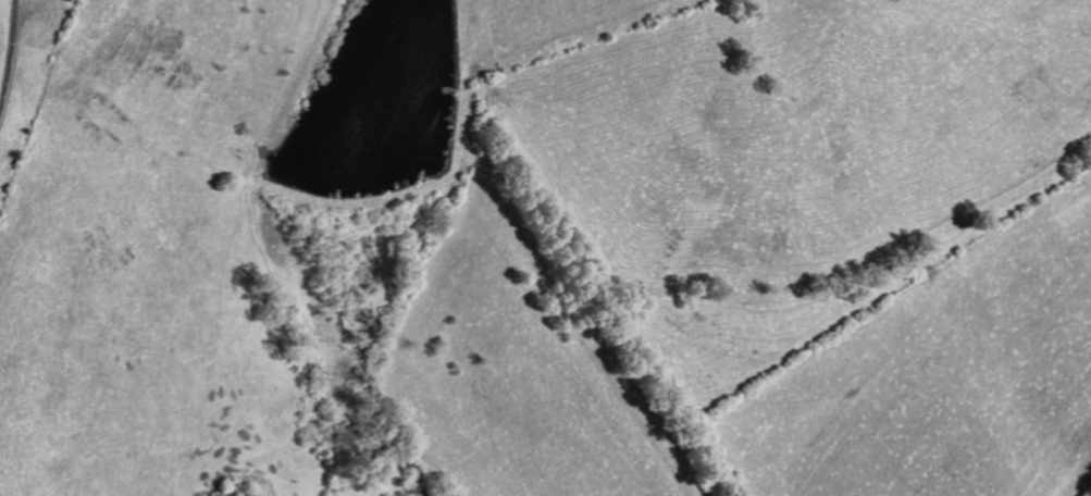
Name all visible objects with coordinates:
road: (8, 51)

